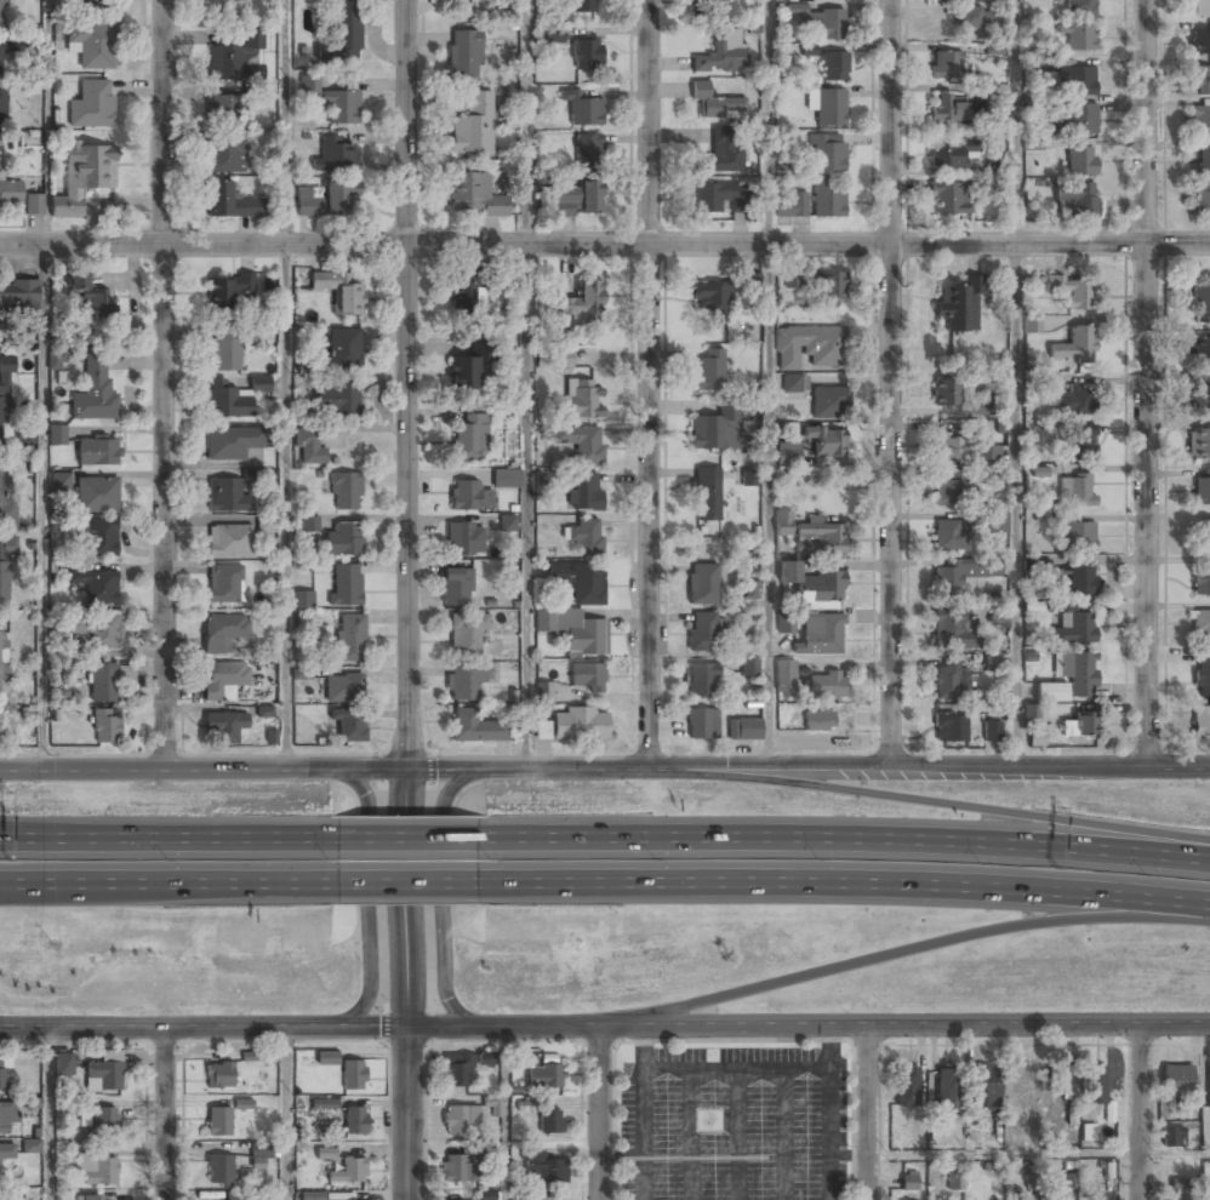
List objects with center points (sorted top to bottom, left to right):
building: (324, 0)
building: (712, 2)
building: (92, 6)
building: (583, 6)
building: (222, 7)
building: (1200, 7)
building: (1078, 8)
building: (0, 15)
building: (972, 18)
building: (827, 23)
building: (555, 35)
building: (1078, 38)
building: (341, 39)
building: (92, 44)
building: (1200, 44)
building: (809, 50)
building: (723, 53)
building: (464, 55)
building: (587, 56)
building: (236, 58)
building: (1, 59)
building: (944, 65)
building: (834, 67)
building: (1077, 81)
building: (1202, 81)
building: (308, 85)
building: (997, 93)
building: (92, 103)
building: (715, 103)
building: (2, 108)
building: (226, 108)
building: (831, 108)
building: (342, 109)
building: (947, 109)
building: (583, 112)
building: (1079, 120)
building: (1200, 120)
road: (45, 124)
building: (473, 126)
building: (587, 152)
building: (723, 153)
building: (828, 153)
building: (226, 154)
building: (335, 156)
building: (946, 156)
building: (1203, 159)
building: (1080, 160)
building: (993, 162)
building: (82, 176)
building: (474, 196)
building: (712, 196)
building: (19, 198)
building: (325, 198)
building: (828, 199)
building: (949, 199)
building: (1200, 199)
building: (229, 200)
building: (577, 200)
building: (1074, 200)
building: (792, 206)
road: (604, 245)
building: (792, 279)
building: (752, 281)
building: (831, 288)
building: (228, 290)
building: (463, 290)
building: (339, 291)
building: (1069, 291)
building: (1202, 297)
building: (710, 298)
building: (18, 299)
building: (90, 299)
building: (959, 304)
building: (582, 305)
building: (1032, 325)
building: (23, 341)
building: (805, 347)
building: (1074, 347)
building: (1200, 350)
building: (224, 352)
building: (342, 352)
building: (55, 359)
building: (554, 359)
building: (709, 371)
building: (463, 373)
road: (887, 379)
road: (1020, 381)
road: (1146, 382)
road: (769, 383)
building: (791, 383)
road: (164, 384)
road: (286, 384)
road: (649, 384)
building: (259, 385)
road: (526, 385)
building: (946, 395)
building: (93, 396)
building: (4, 398)
building: (337, 400)
building: (582, 400)
building: (228, 401)
building: (1202, 401)
building: (1073, 402)
building: (829, 404)
building: (715, 432)
building: (57, 435)
building: (470, 439)
building: (826, 441)
building: (581, 444)
building: (230, 445)
building: (1079, 445)
building: (1199, 445)
building: (308, 448)
building: (948, 448)
building: (98, 453)
building: (986, 453)
building: (787, 455)
building: (1040, 472)
building: (997, 474)
building: (258, 475)
building: (748, 478)
building: (504, 480)
building: (61, 482)
building: (1202, 488)
building: (1075, 491)
building: (344, 492)
building: (583, 493)
building: (947, 493)
building: (96, 496)
building: (707, 496)
building: (226, 497)
building: (466, 497)
building: (6, 503)
road: (42, 508)
building: (508, 522)
building: (783, 522)
building: (997, 522)
building: (267, 524)
building: (304, 525)
building: (1204, 533)
building: (1077, 535)
building: (948, 536)
building: (584, 537)
building: (97, 538)
building: (464, 539)
building: (820, 539)
building: (343, 541)
building: (228, 542)
building: (1034, 567)
building: (6, 570)
building: (961, 575)
building: (1202, 579)
building: (578, 581)
building: (1081, 581)
building: (702, 584)
building: (812, 584)
building: (224, 585)
building: (346, 585)
building: (95, 587)
building: (455, 588)
building: (752, 590)
building: (302, 599)
road: (407, 600)
building: (999, 613)
building: (786, 623)
building: (1202, 625)
building: (1075, 628)
building: (949, 629)
building: (96, 630)
building: (573, 630)
building: (703, 630)
building: (222, 633)
building: (467, 634)
building: (348, 638)
building: (820, 638)
building: (2, 656)
building: (992, 662)
building: (749, 667)
building: (1077, 672)
building: (301, 673)
building: (1202, 675)
building: (784, 676)
building: (586, 678)
building: (701, 680)
building: (223, 681)
building: (951, 681)
building: (464, 682)
building: (103, 684)
building: (826, 686)
building: (343, 688)
building: (543, 691)
building: (1050, 693)
building: (1031, 712)
building: (824, 721)
building: (1200, 721)
building: (349, 725)
building: (580, 725)
building: (702, 725)
building: (1080, 726)
building: (105, 727)
building: (224, 727)
building: (949, 727)
building: (474, 728)
building: (542, 730)
building: (744, 730)
building: (0, 731)
building: (992, 732)
building: (1037, 738)
road: (605, 770)
road: (947, 805)
road: (110, 834)
road: (846, 835)
road: (410, 840)
road: (169, 841)
road: (849, 879)
road: (413, 885)
road: (170, 887)
road: (370, 890)
road: (444, 897)
road: (901, 952)
road: (605, 1027)
building: (251, 1056)
building: (326, 1058)
building: (487, 1058)
building: (525, 1059)
building: (63, 1063)
building: (455, 1072)
building: (5, 1073)
building: (104, 1073)
building: (218, 1076)
building: (353, 1076)
building: (550, 1078)
building: (1022, 1080)
building: (1176, 1080)
building: (1058, 1082)
building: (1094, 1085)
building: (906, 1086)
building: (987, 1087)
building: (947, 1090)
building: (1208, 1092)
building: (242, 1104)
building: (324, 1104)
building: (490, 1107)
road: (1136, 1109)
road: (286, 1113)
road: (507, 1113)
road: (599, 1113)
road: (864, 1113)
road: (47, 1114)
road: (164, 1114)
building: (6, 1120)
building: (457, 1120)
building: (218, 1121)
building: (354, 1121)
building: (101, 1122)
building: (549, 1122)
building: (1088, 1132)
building: (937, 1137)
building: (1172, 1137)
building: (32, 1145)
building: (6, 1152)
building: (325, 1153)
road: (1037, 1154)
building: (259, 1155)
building: (97, 1168)
building: (543, 1168)
building: (456, 1170)
building: (219, 1171)
building: (348, 1172)
building: (1069, 1181)
building: (908, 1182)
building: (1177, 1183)
building: (954, 1184)
building: (484, 1195)
building: (312, 1196)
building: (249, 1198)
building: (536, 1198)
building: (87, 1199)
building: (352, 1199)

